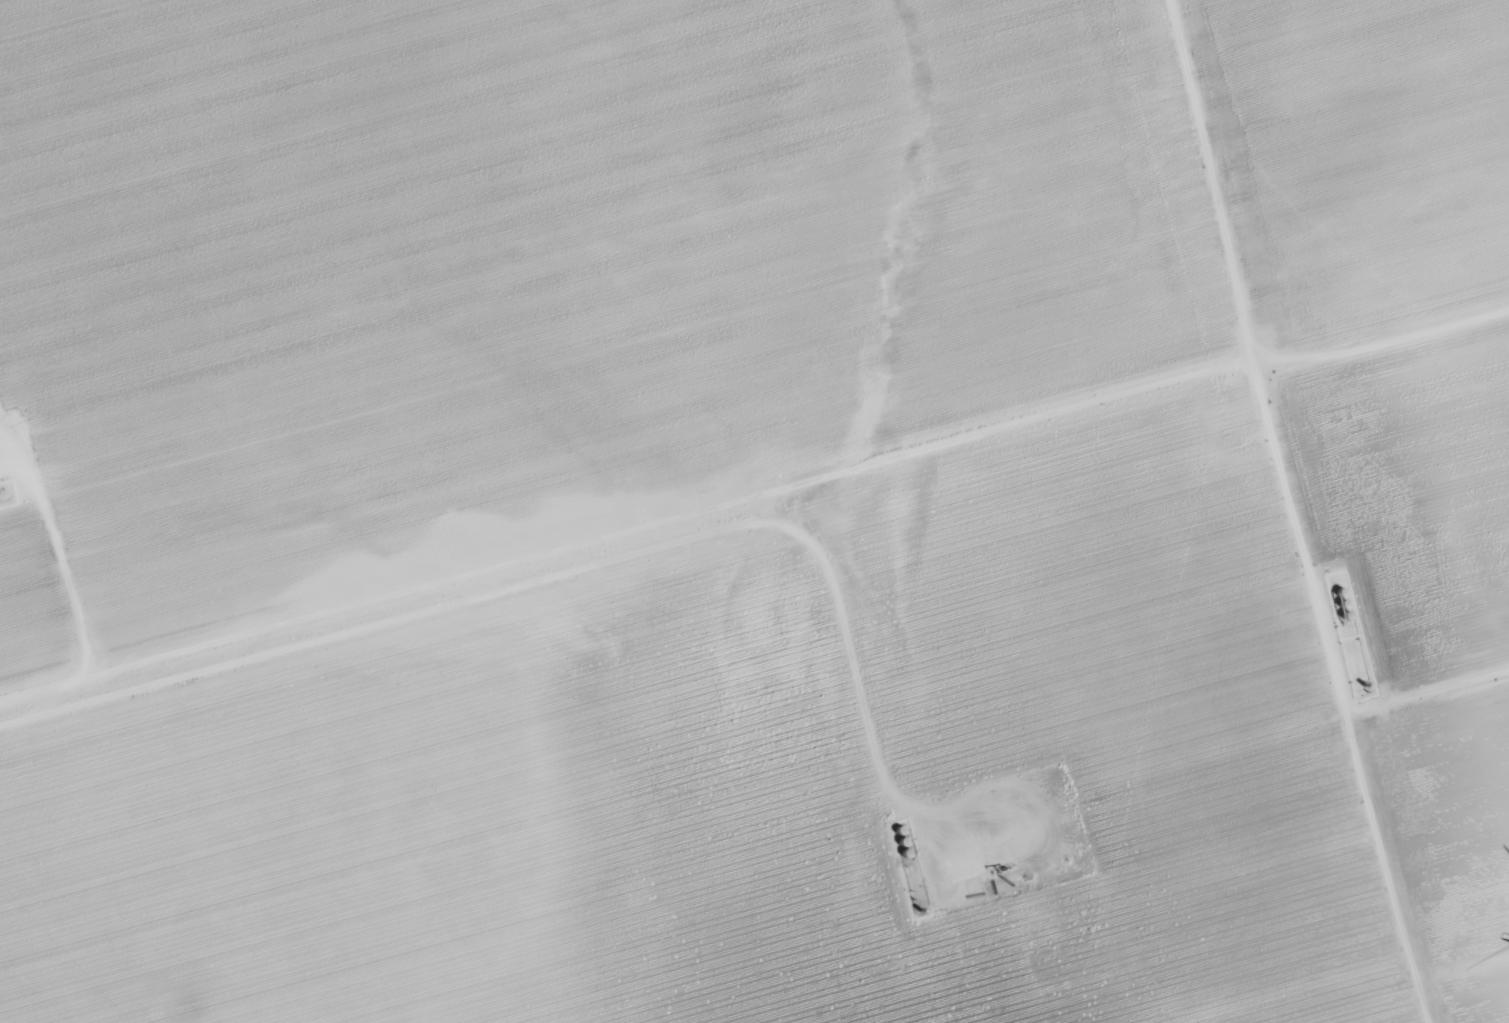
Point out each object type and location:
road: (1211, 178)
road: (958, 436)
road: (593, 563)
road: (1427, 687)
road: (1463, 963)

